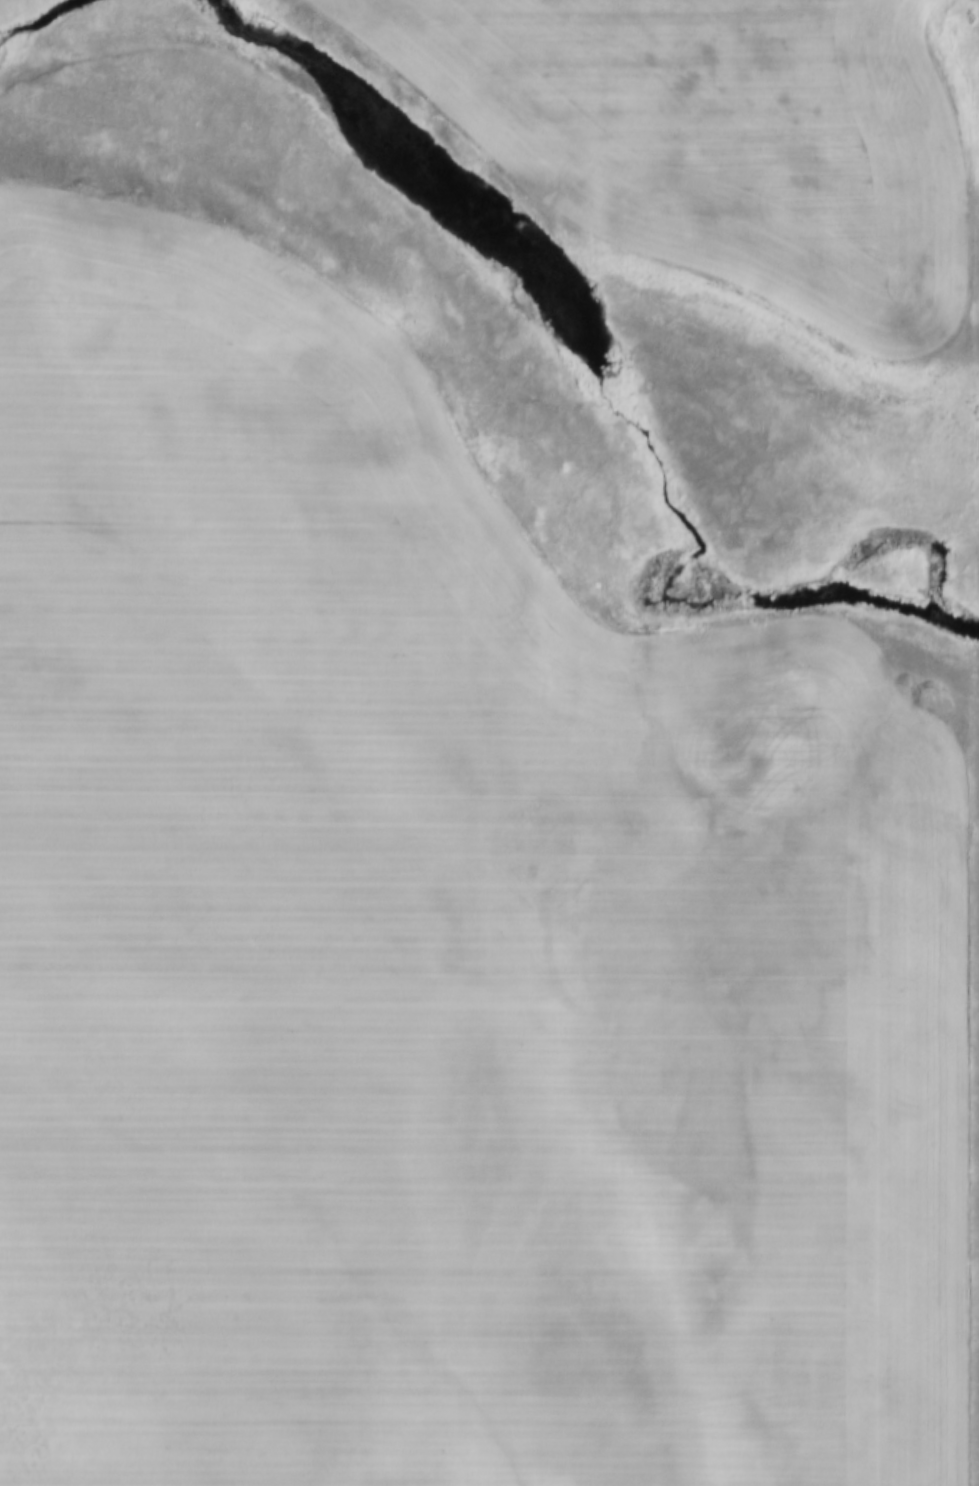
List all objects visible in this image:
road: (965, 164)

